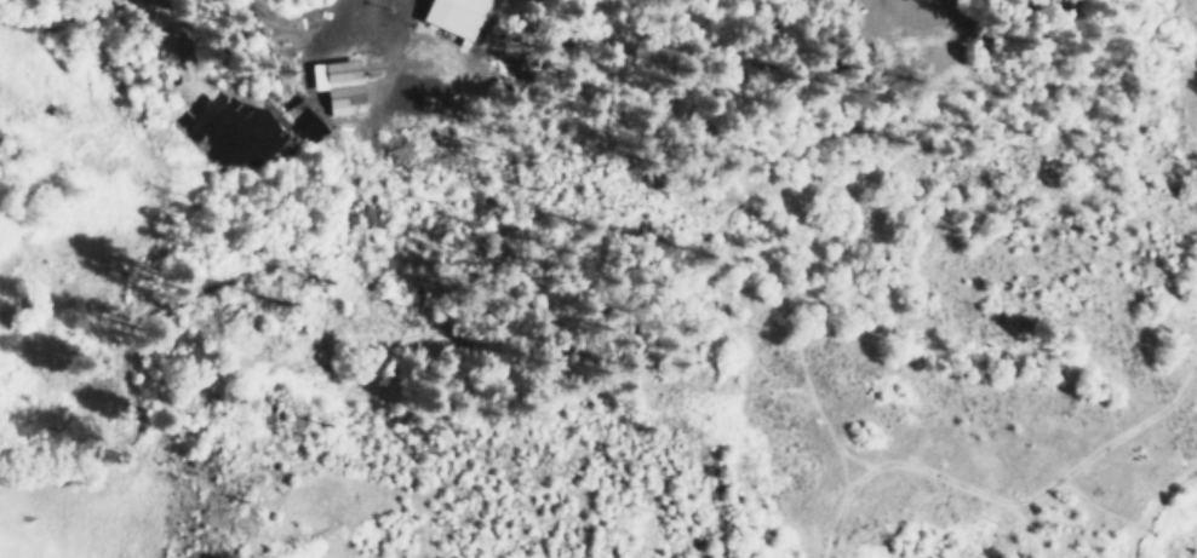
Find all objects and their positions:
building: (451, 16)
road: (1186, 17)
building: (332, 85)
road: (889, 161)
road: (834, 470)
road: (1003, 500)
road: (1146, 502)
road: (1016, 527)

